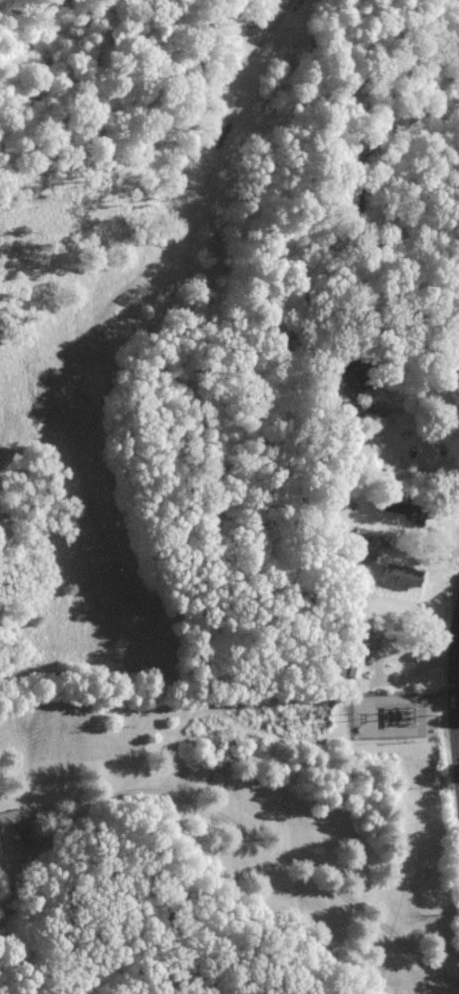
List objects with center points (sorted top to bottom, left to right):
road: (165, 133)
building: (356, 378)
building: (366, 545)
building: (401, 576)
road: (454, 710)
power substation: (388, 714)
building: (12, 829)

